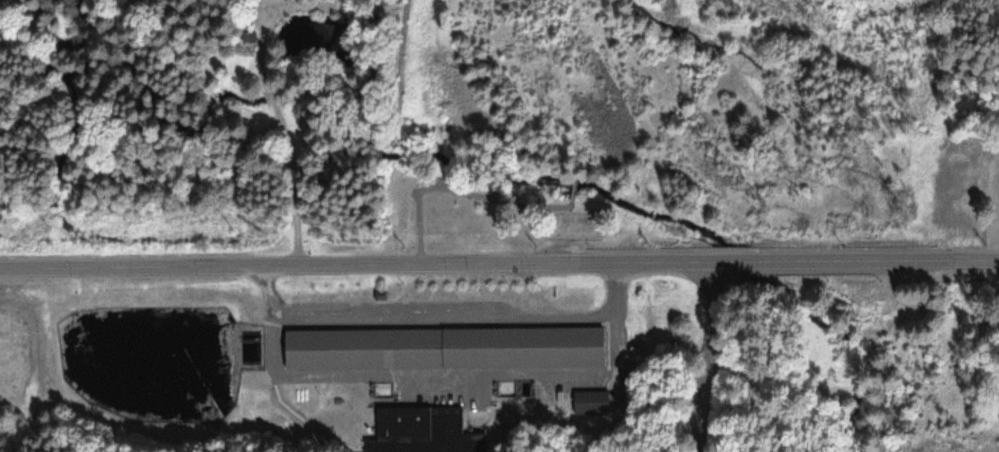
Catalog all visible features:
road: (575, 184)
road: (460, 191)
road: (499, 266)
parking lot: (396, 314)
road: (447, 315)
building: (447, 345)
road: (707, 358)
building: (592, 402)
building: (424, 431)

